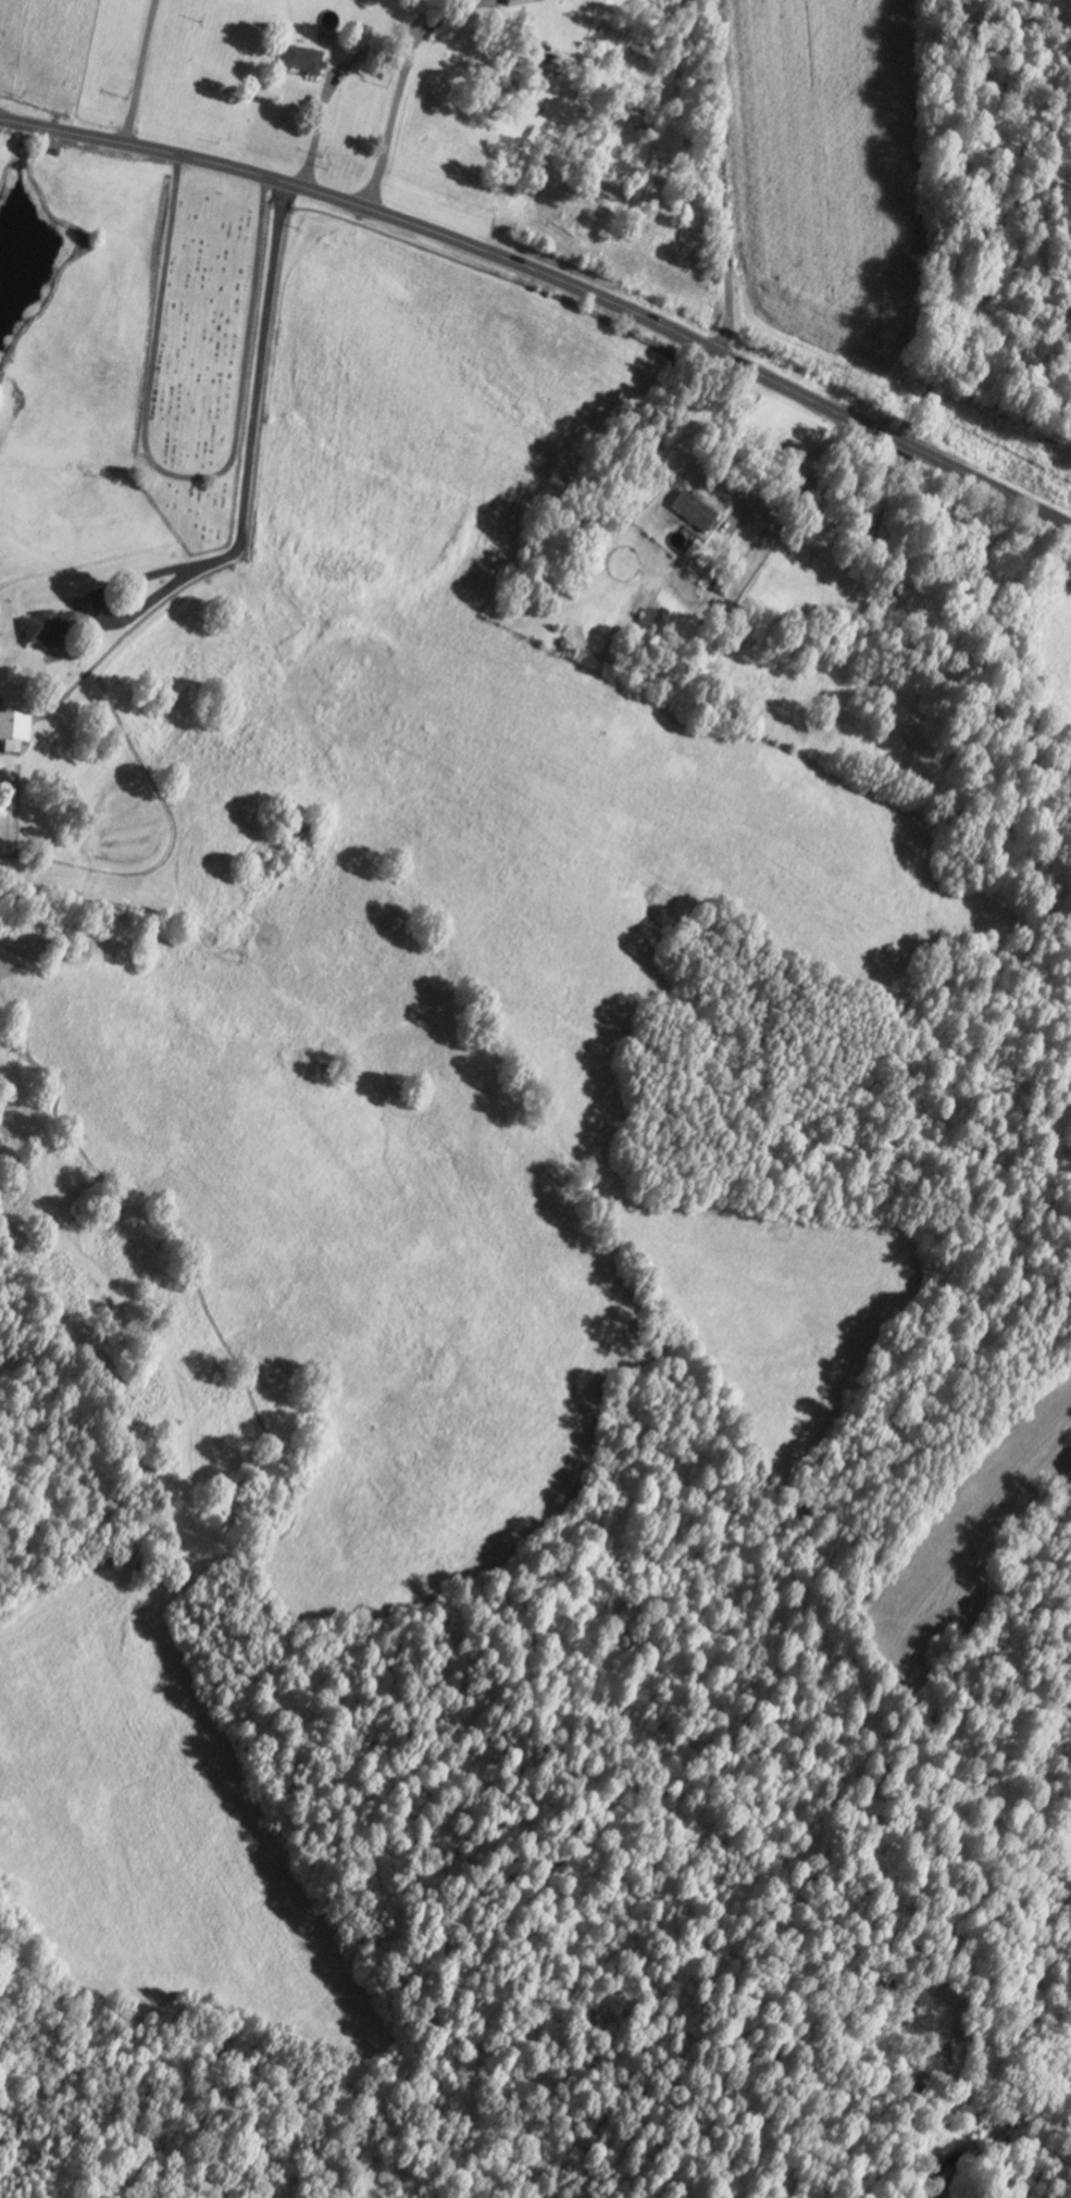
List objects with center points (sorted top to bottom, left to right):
building: (515, 3)
building: (301, 64)
road: (718, 177)
road: (552, 275)
park: (199, 357)
building: (690, 515)
building: (644, 621)
building: (47, 633)
building: (13, 736)

